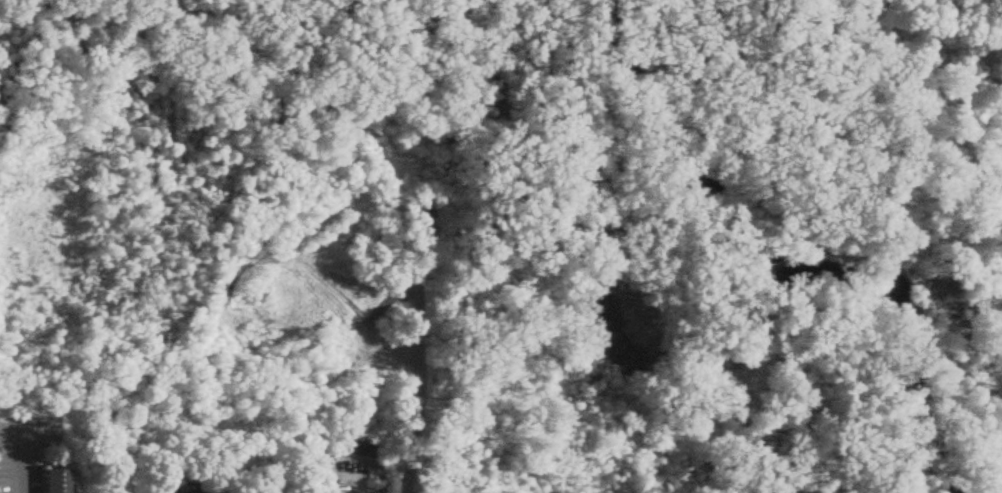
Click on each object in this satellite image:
road: (432, 246)
river: (776, 269)
road: (26, 431)
parking lot: (26, 448)
road: (19, 462)
building: (53, 482)
building: (211, 491)

